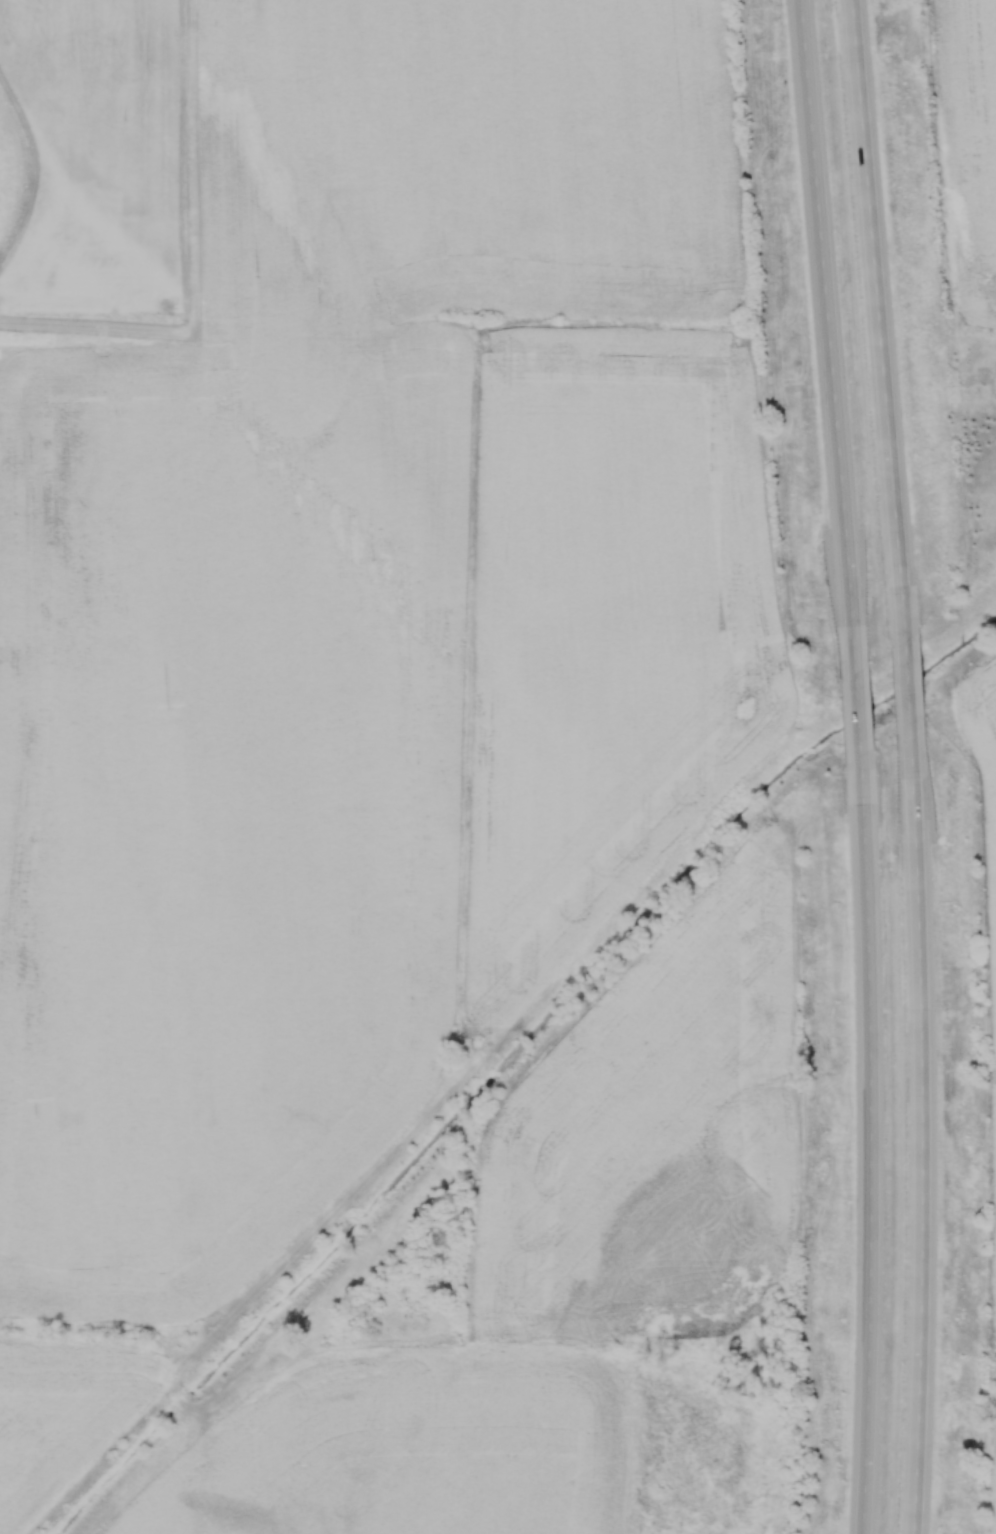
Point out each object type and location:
road: (882, 323)
road: (829, 343)
road: (911, 681)
road: (860, 717)
road: (925, 1124)
road: (874, 1141)

